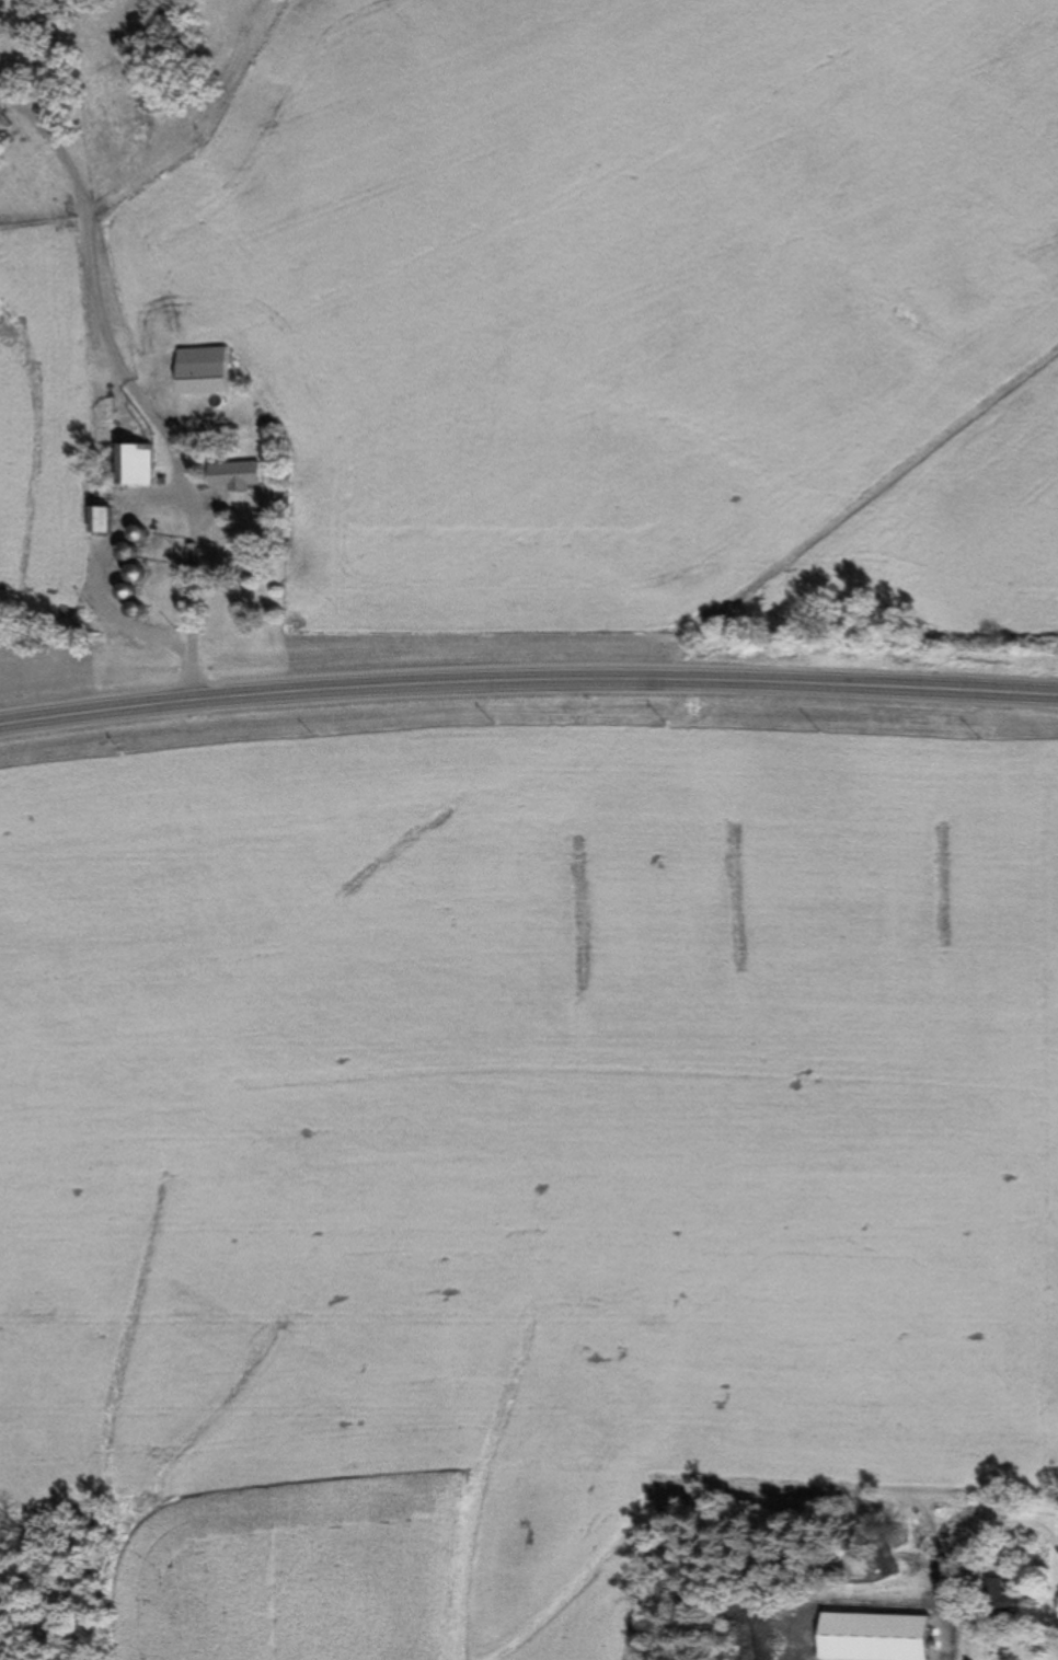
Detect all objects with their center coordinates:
building: (210, 372)
road: (128, 381)
building: (142, 466)
building: (240, 476)
road: (528, 679)
building: (1002, 1599)

